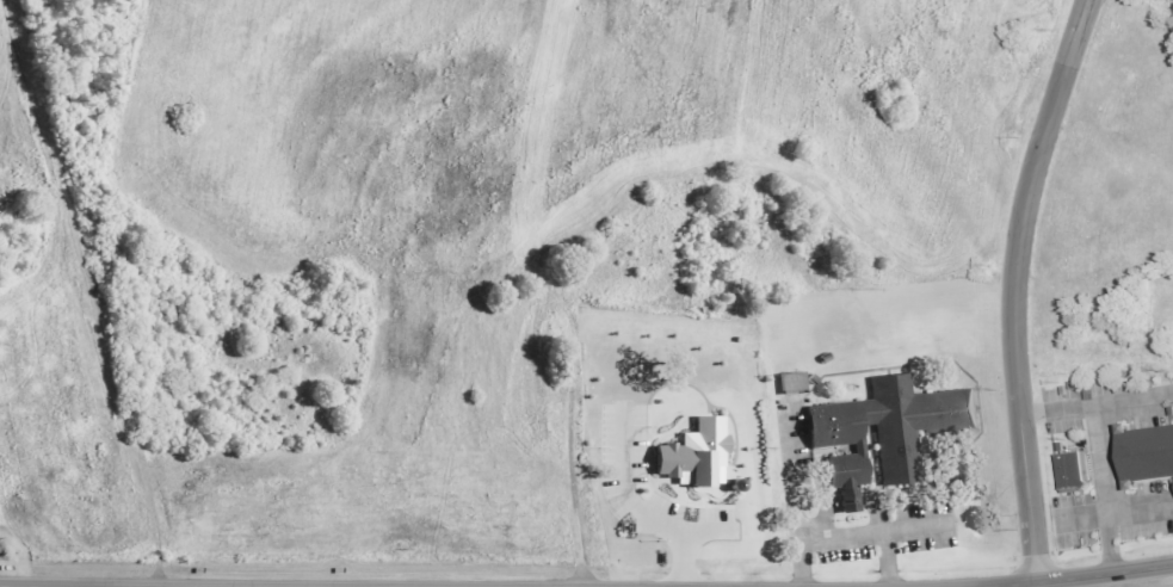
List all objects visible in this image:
road: (1014, 289)
building: (792, 383)
road: (1058, 412)
road: (1095, 419)
building: (887, 430)
building: (694, 451)
building: (1147, 452)
building: (1070, 456)
road: (795, 494)
road: (635, 507)
road: (1107, 509)
road: (1081, 514)
road: (876, 530)
road: (683, 558)
road: (887, 558)
road: (1105, 576)

